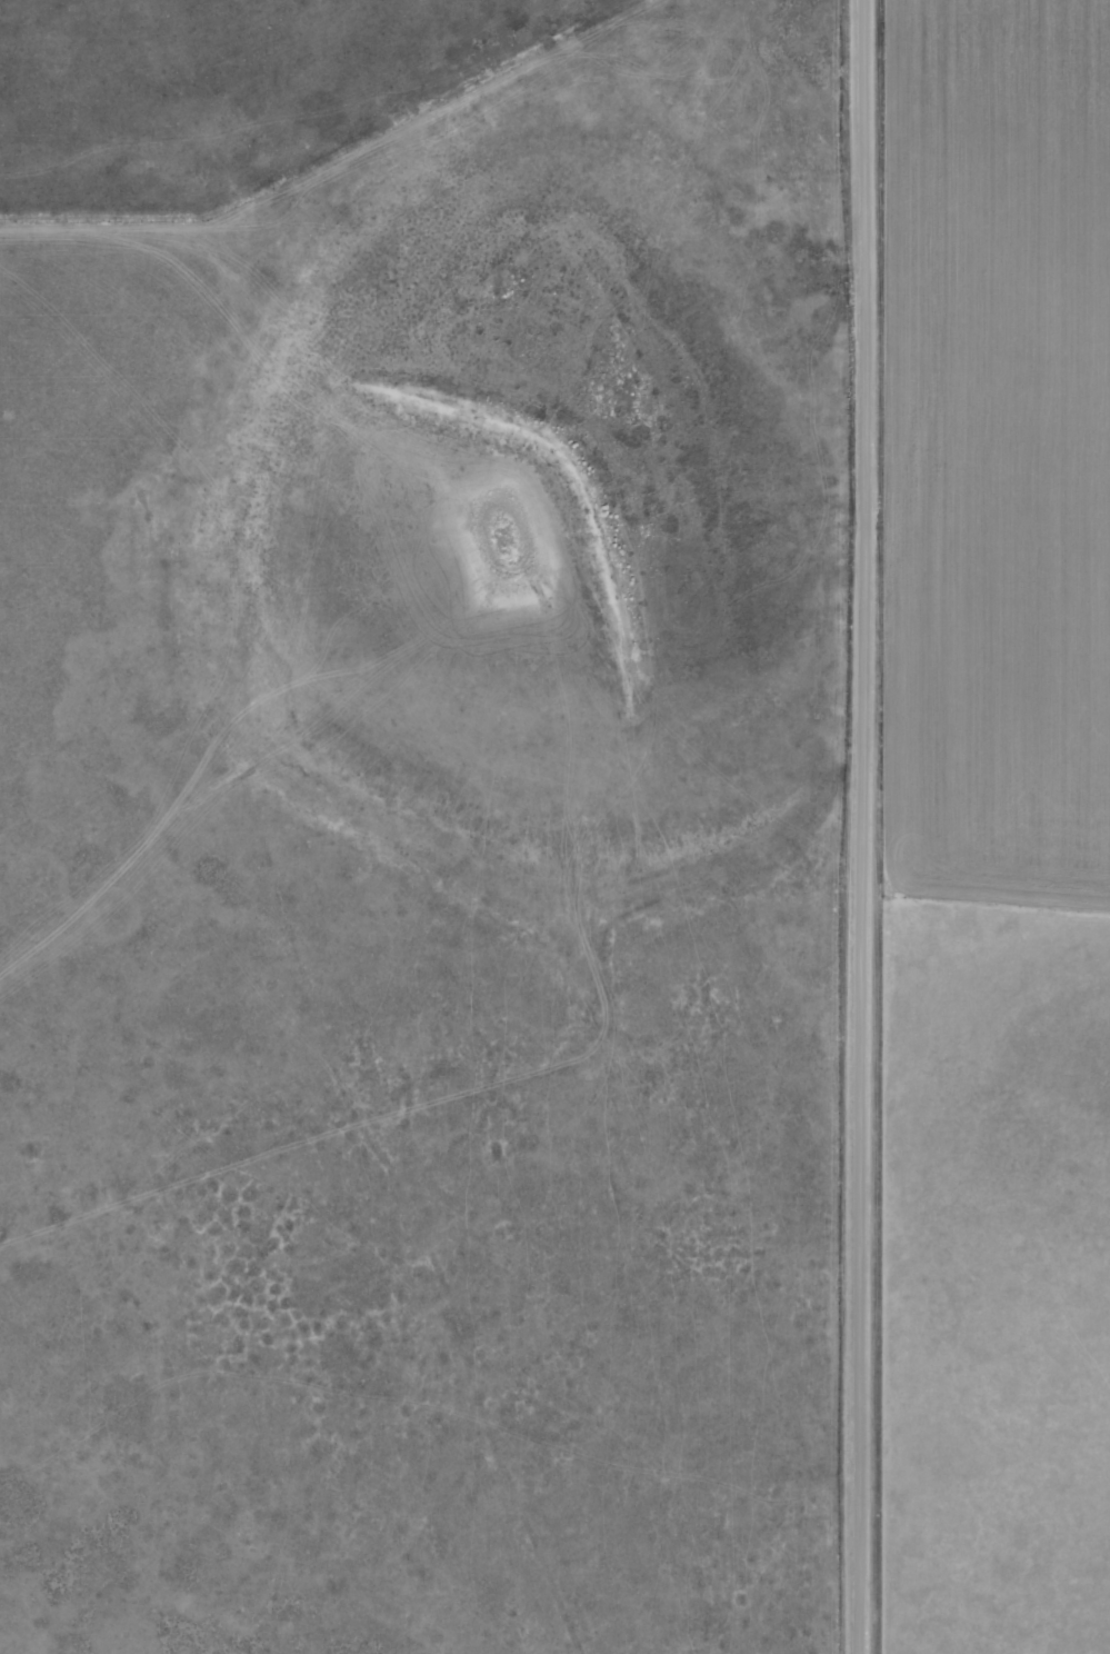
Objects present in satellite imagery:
road: (866, 827)

